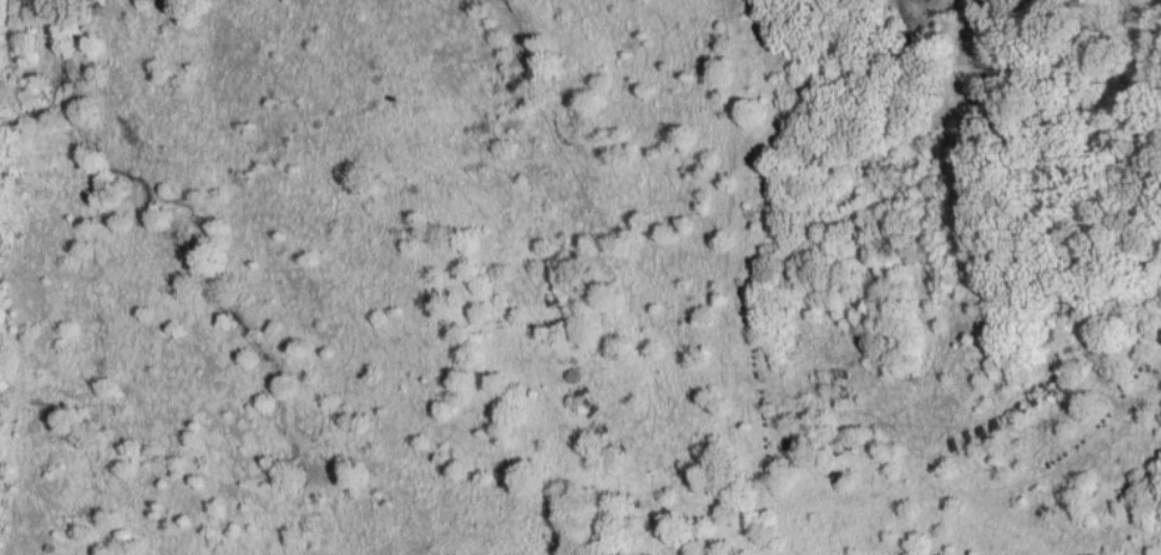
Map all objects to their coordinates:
road: (749, 426)

